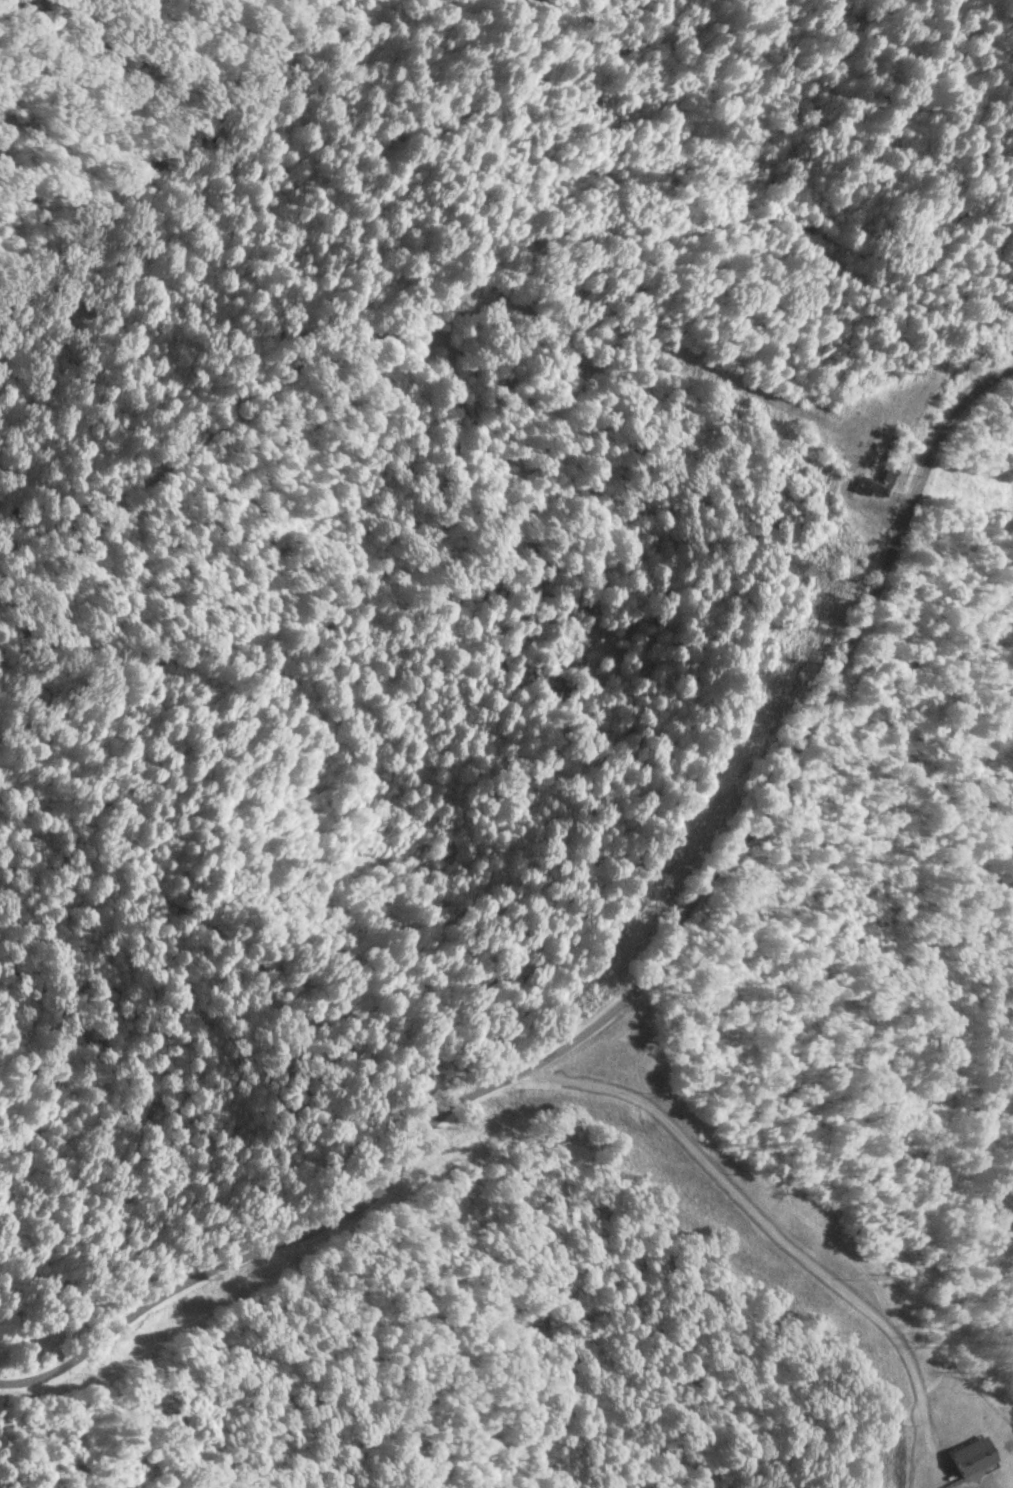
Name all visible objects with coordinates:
building: (877, 485)
road: (627, 994)
building: (972, 1457)

